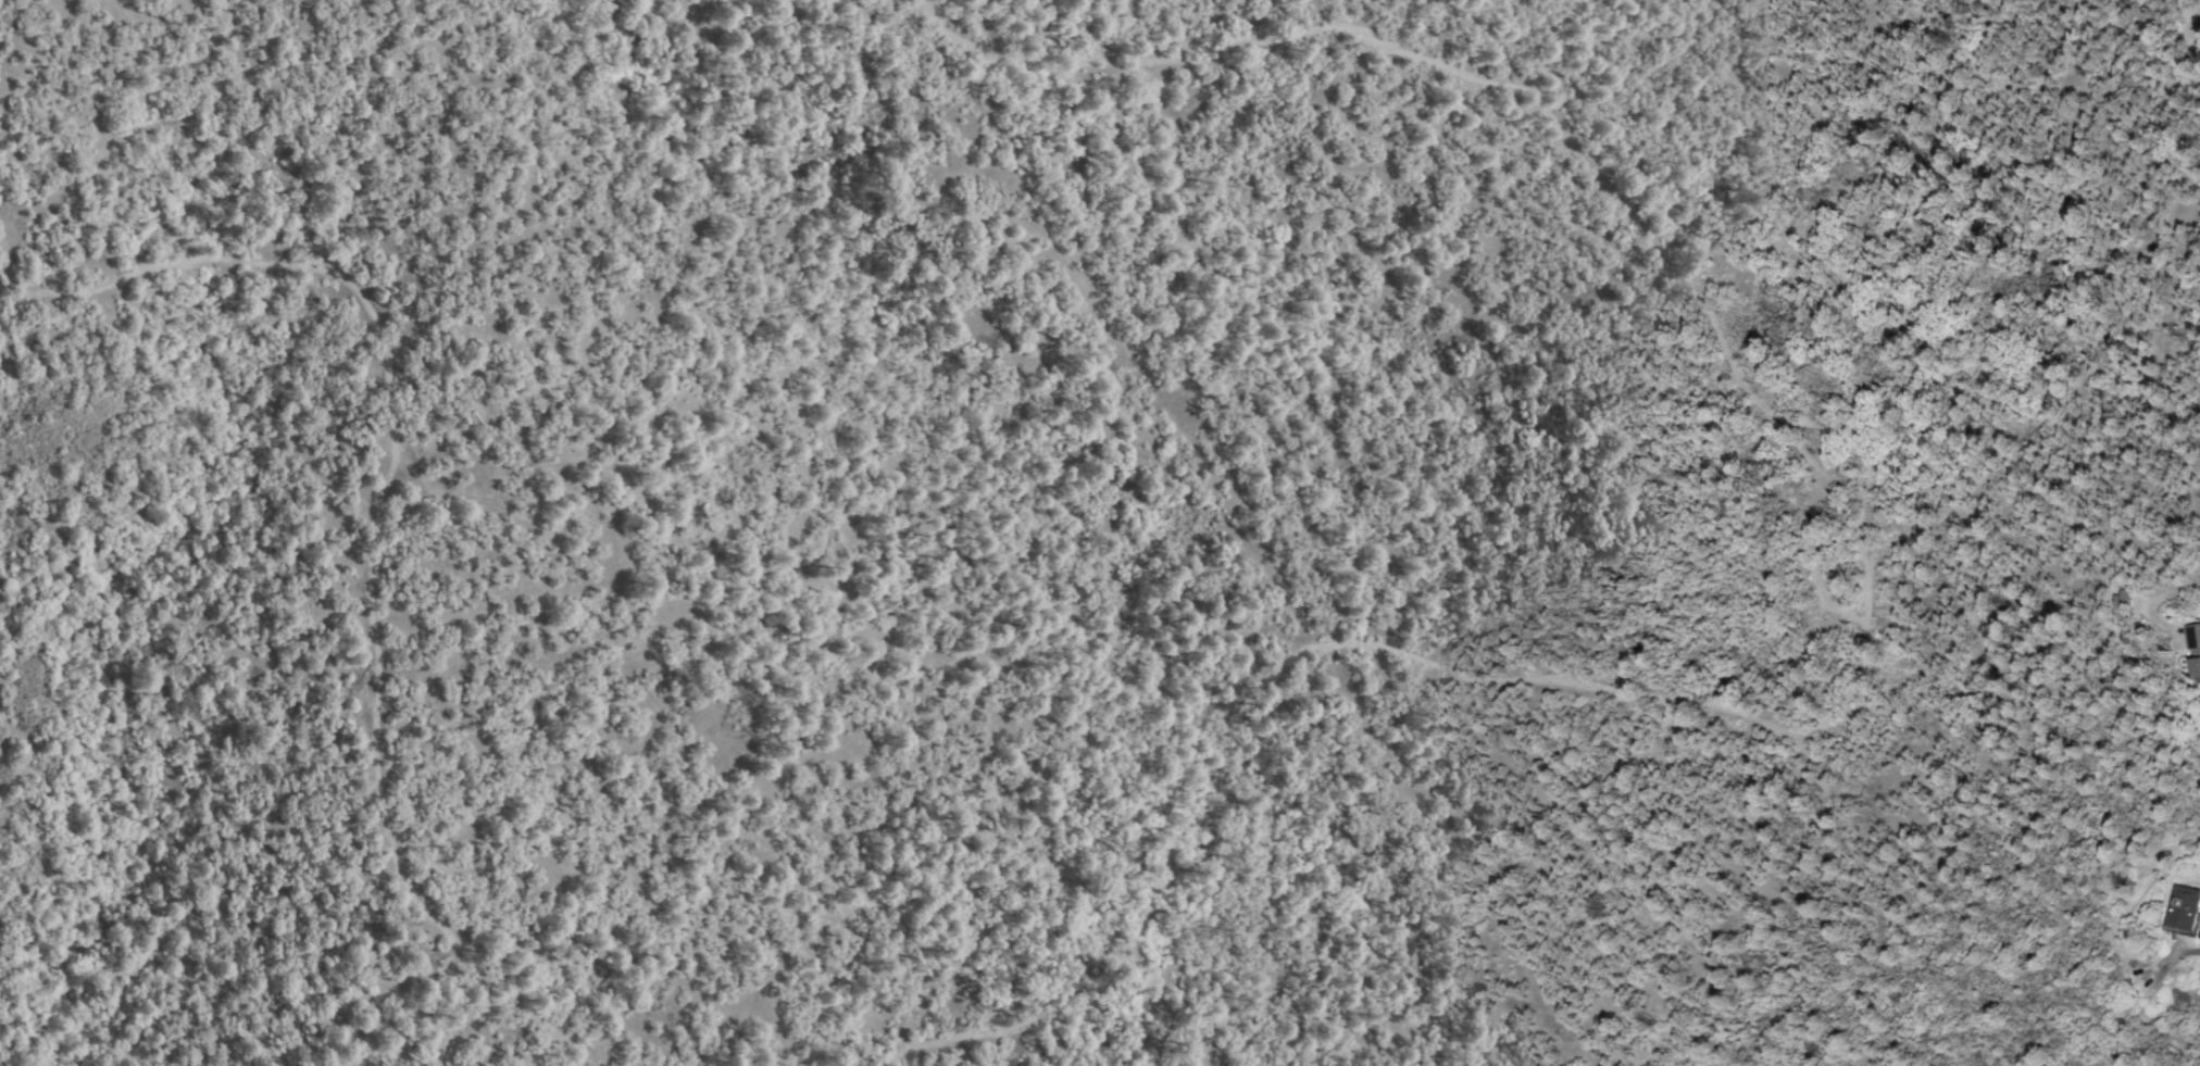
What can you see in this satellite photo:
building: (2196, 647)
building: (2185, 911)

